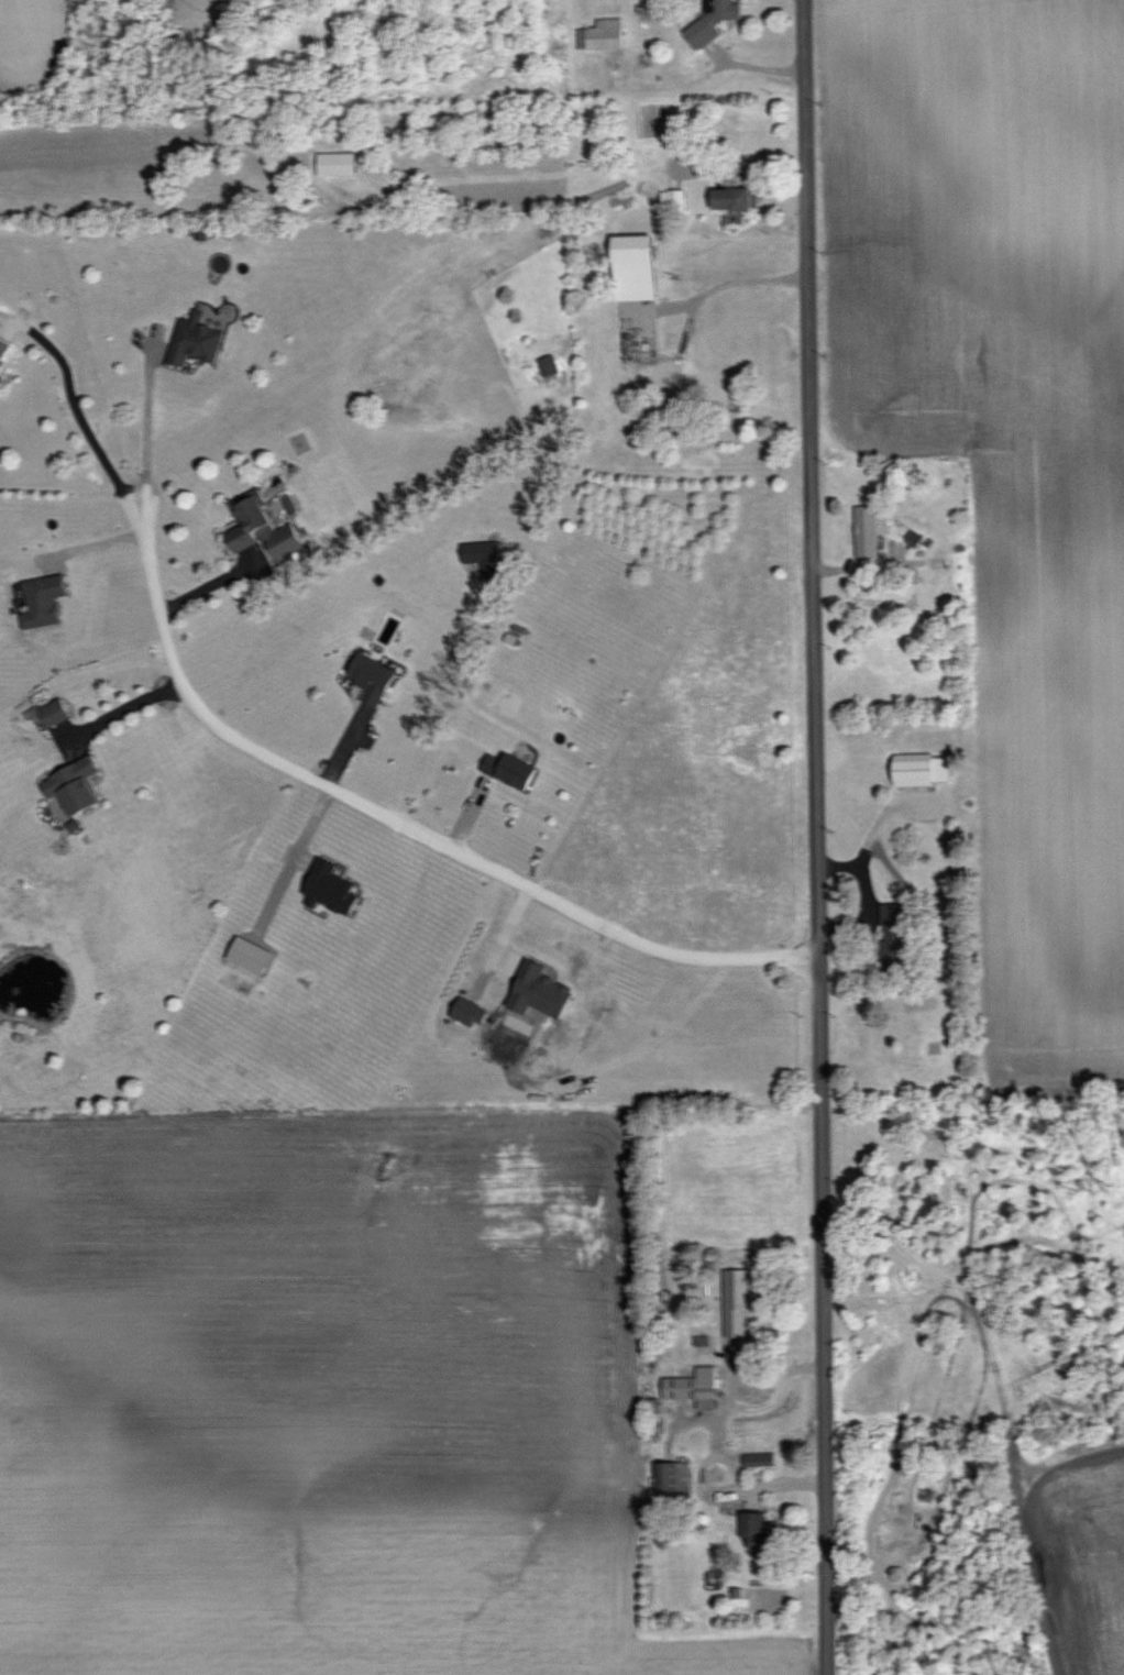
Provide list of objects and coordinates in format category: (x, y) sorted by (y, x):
building: (715, 21)
building: (603, 33)
building: (339, 163)
building: (739, 197)
building: (640, 265)
building: (195, 339)
building: (3, 349)
building: (550, 364)
road: (75, 406)
road: (144, 419)
building: (868, 530)
building: (916, 537)
road: (90, 547)
road: (809, 555)
building: (484, 557)
road: (209, 582)
building: (47, 599)
building: (373, 676)
building: (56, 710)
road: (119, 710)
building: (515, 769)
building: (78, 784)
road: (399, 823)
road: (291, 859)
building: (333, 888)
building: (253, 955)
building: (543, 991)
building: (471, 1011)
building: (694, 1385)
road: (822, 1392)
building: (759, 1458)
building: (761, 1531)

